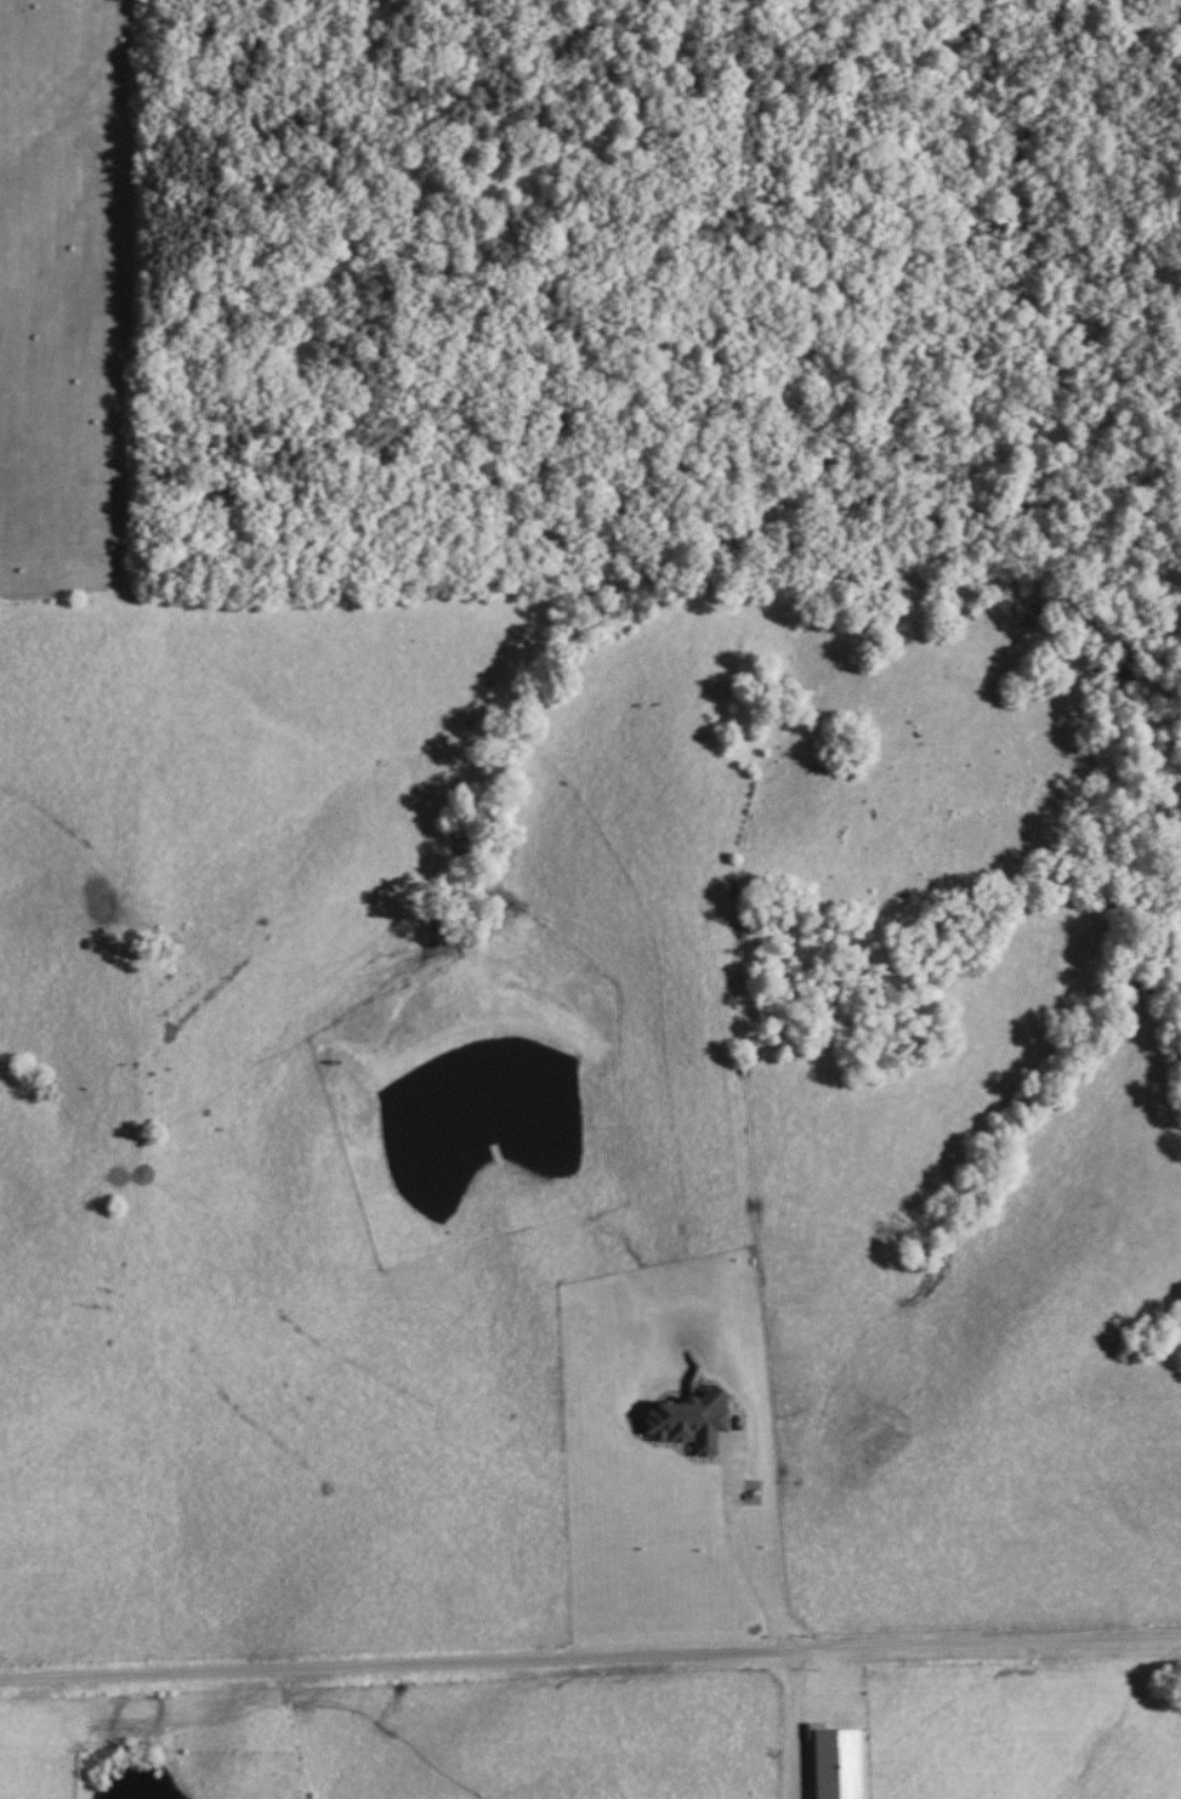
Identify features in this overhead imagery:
road: (590, 1659)

